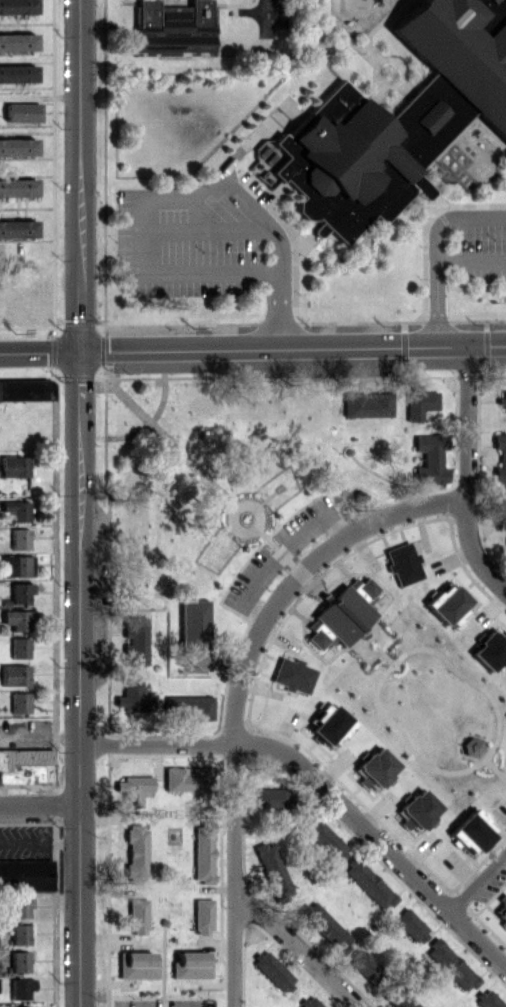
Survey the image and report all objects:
building: (489, 1)
building: (16, 6)
road: (266, 17)
building: (172, 28)
building: (17, 41)
building: (459, 54)
building: (16, 73)
building: (21, 112)
building: (17, 146)
building: (358, 157)
road: (77, 176)
building: (16, 187)
road: (175, 196)
building: (16, 228)
road: (430, 249)
road: (291, 350)
road: (39, 352)
traffic signals: (78, 353)
building: (25, 389)
building: (501, 399)
building: (418, 402)
building: (366, 404)
road: (465, 426)
building: (500, 456)
building: (429, 457)
building: (13, 465)
road: (407, 509)
building: (15, 510)
building: (18, 538)
building: (505, 550)
road: (473, 552)
building: (403, 563)
building: (17, 565)
building: (20, 592)
building: (448, 604)
building: (342, 614)
building: (17, 619)
building: (193, 624)
building: (134, 640)
building: (18, 647)
building: (490, 650)
building: (13, 675)
building: (293, 675)
road: (78, 680)
building: (131, 697)
building: (18, 702)
building: (189, 706)
building: (329, 724)
road: (158, 740)
building: (25, 766)
building: (377, 766)
road: (236, 768)
building: (184, 778)
building: (131, 789)
building: (272, 797)
road: (39, 802)
building: (419, 809)
building: (472, 832)
building: (324, 839)
road: (379, 843)
building: (136, 852)
building: (203, 852)
building: (273, 869)
building: (25, 873)
building: (369, 883)
road: (479, 888)
building: (20, 906)
building: (502, 912)
building: (136, 916)
building: (202, 916)
building: (324, 924)
building: (410, 925)
building: (20, 934)
road: (295, 948)
building: (19, 961)
building: (364, 963)
building: (191, 964)
building: (450, 964)
building: (136, 965)
building: (273, 970)
building: (20, 987)
building: (488, 999)
building: (309, 1002)
building: (19, 1006)

